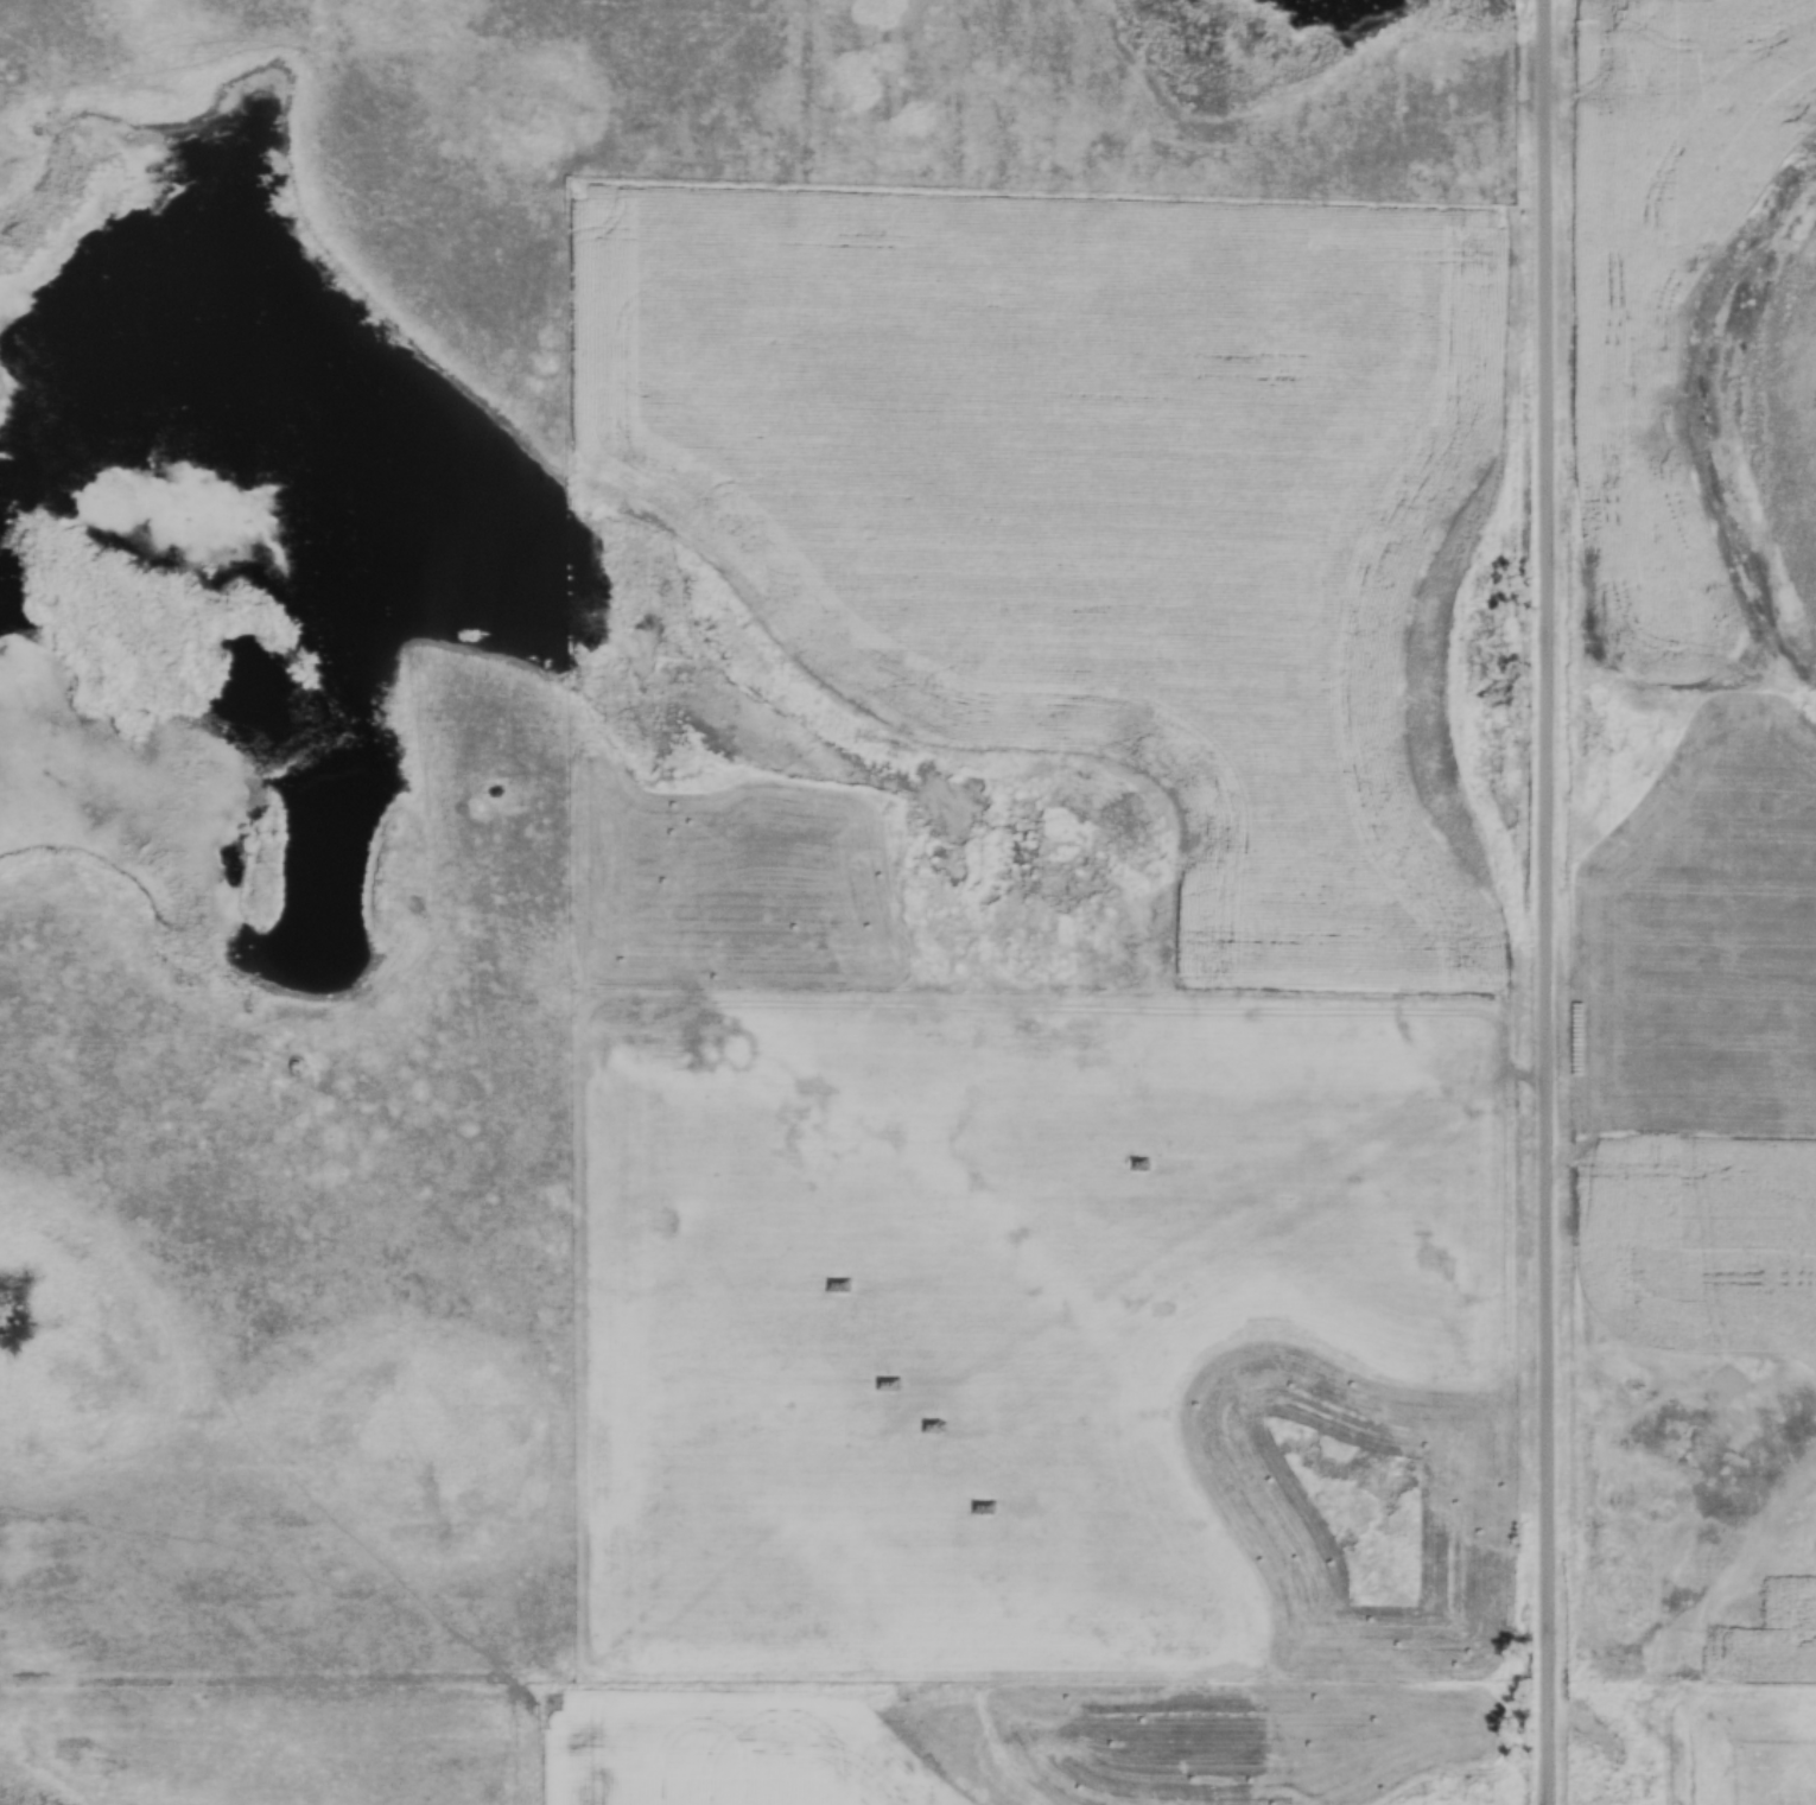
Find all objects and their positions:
road: (1545, 902)

